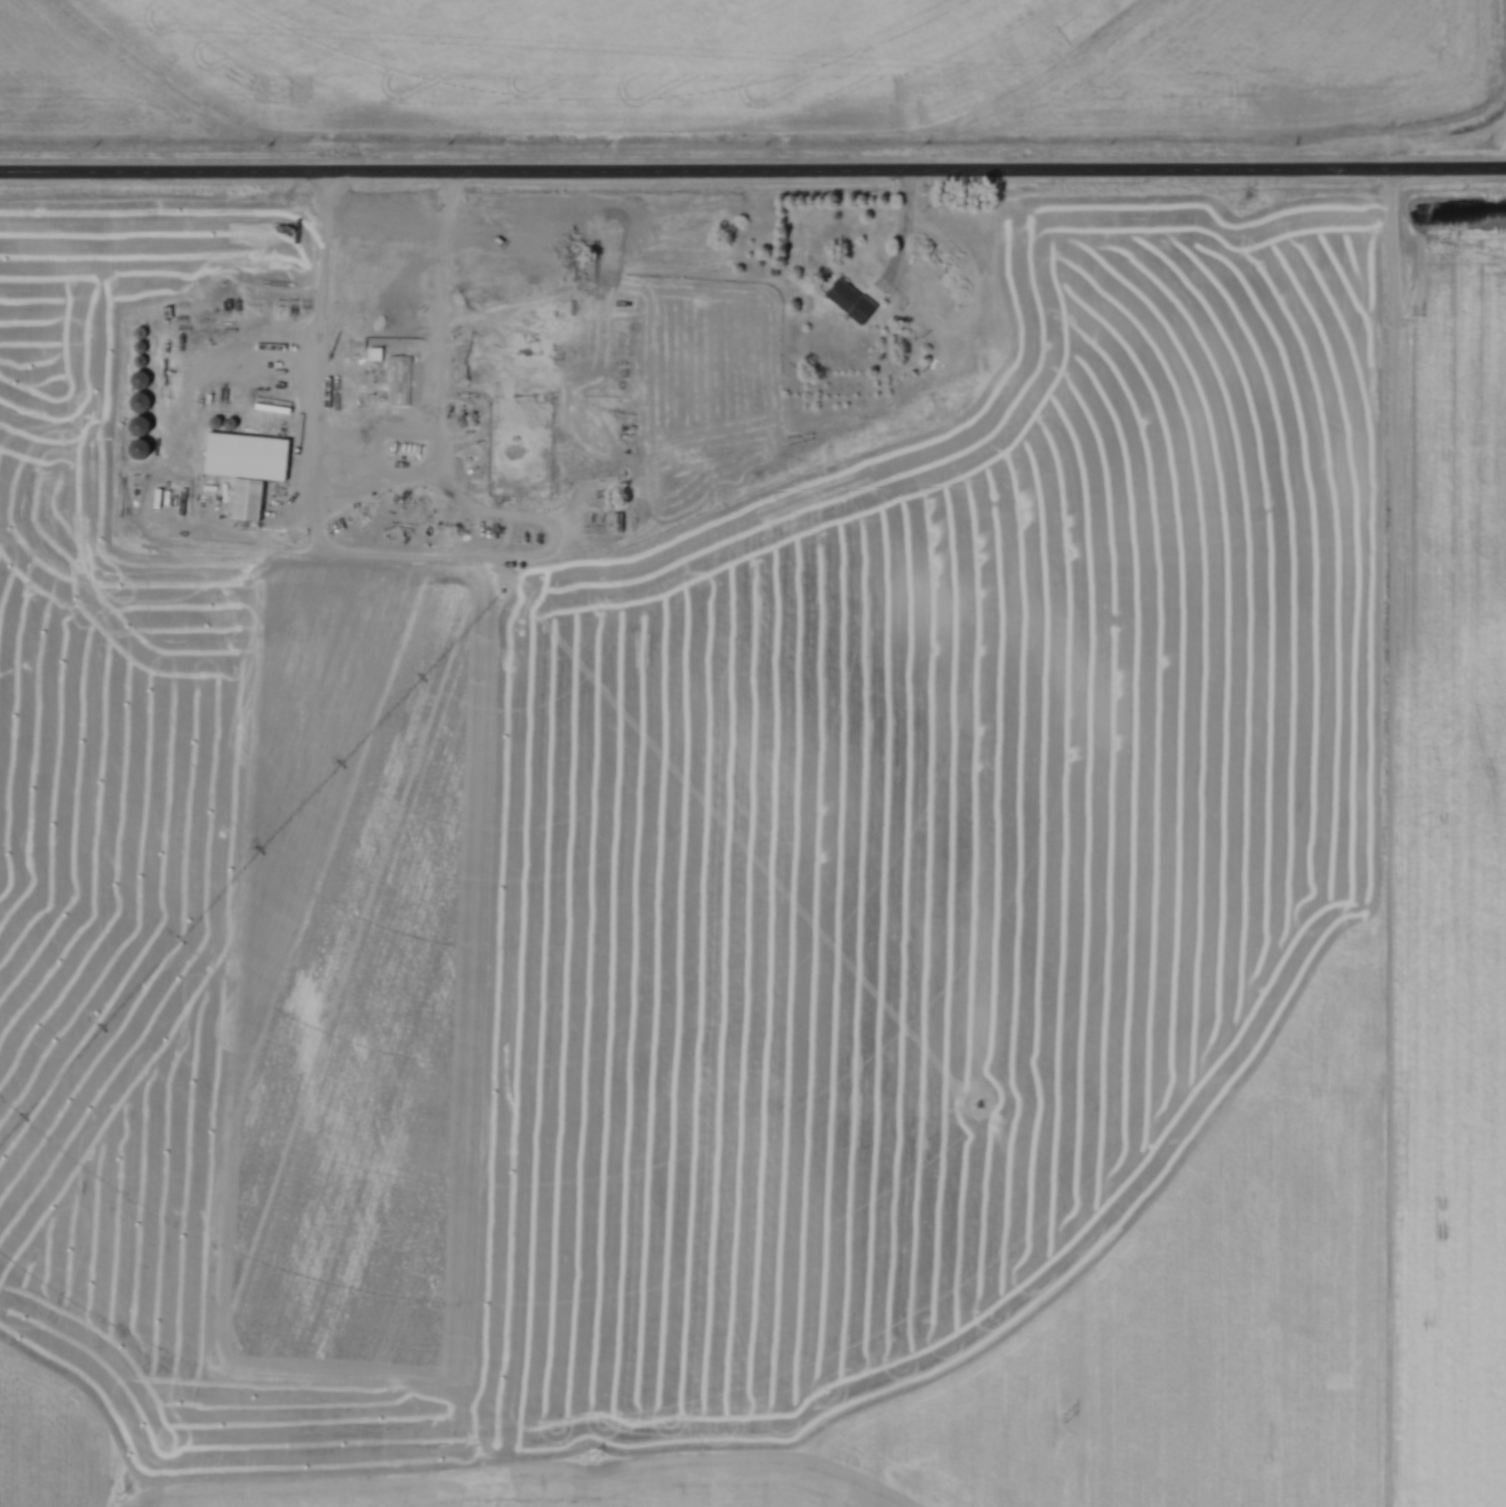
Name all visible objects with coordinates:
road: (752, 170)
road: (911, 232)
building: (520, 282)
building: (853, 301)
building: (144, 393)
building: (380, 396)
road: (364, 434)
building: (146, 439)
building: (251, 469)
building: (619, 523)
power tower: (1066, 1419)
power tower: (593, 1458)
power tower: (123, 1498)

